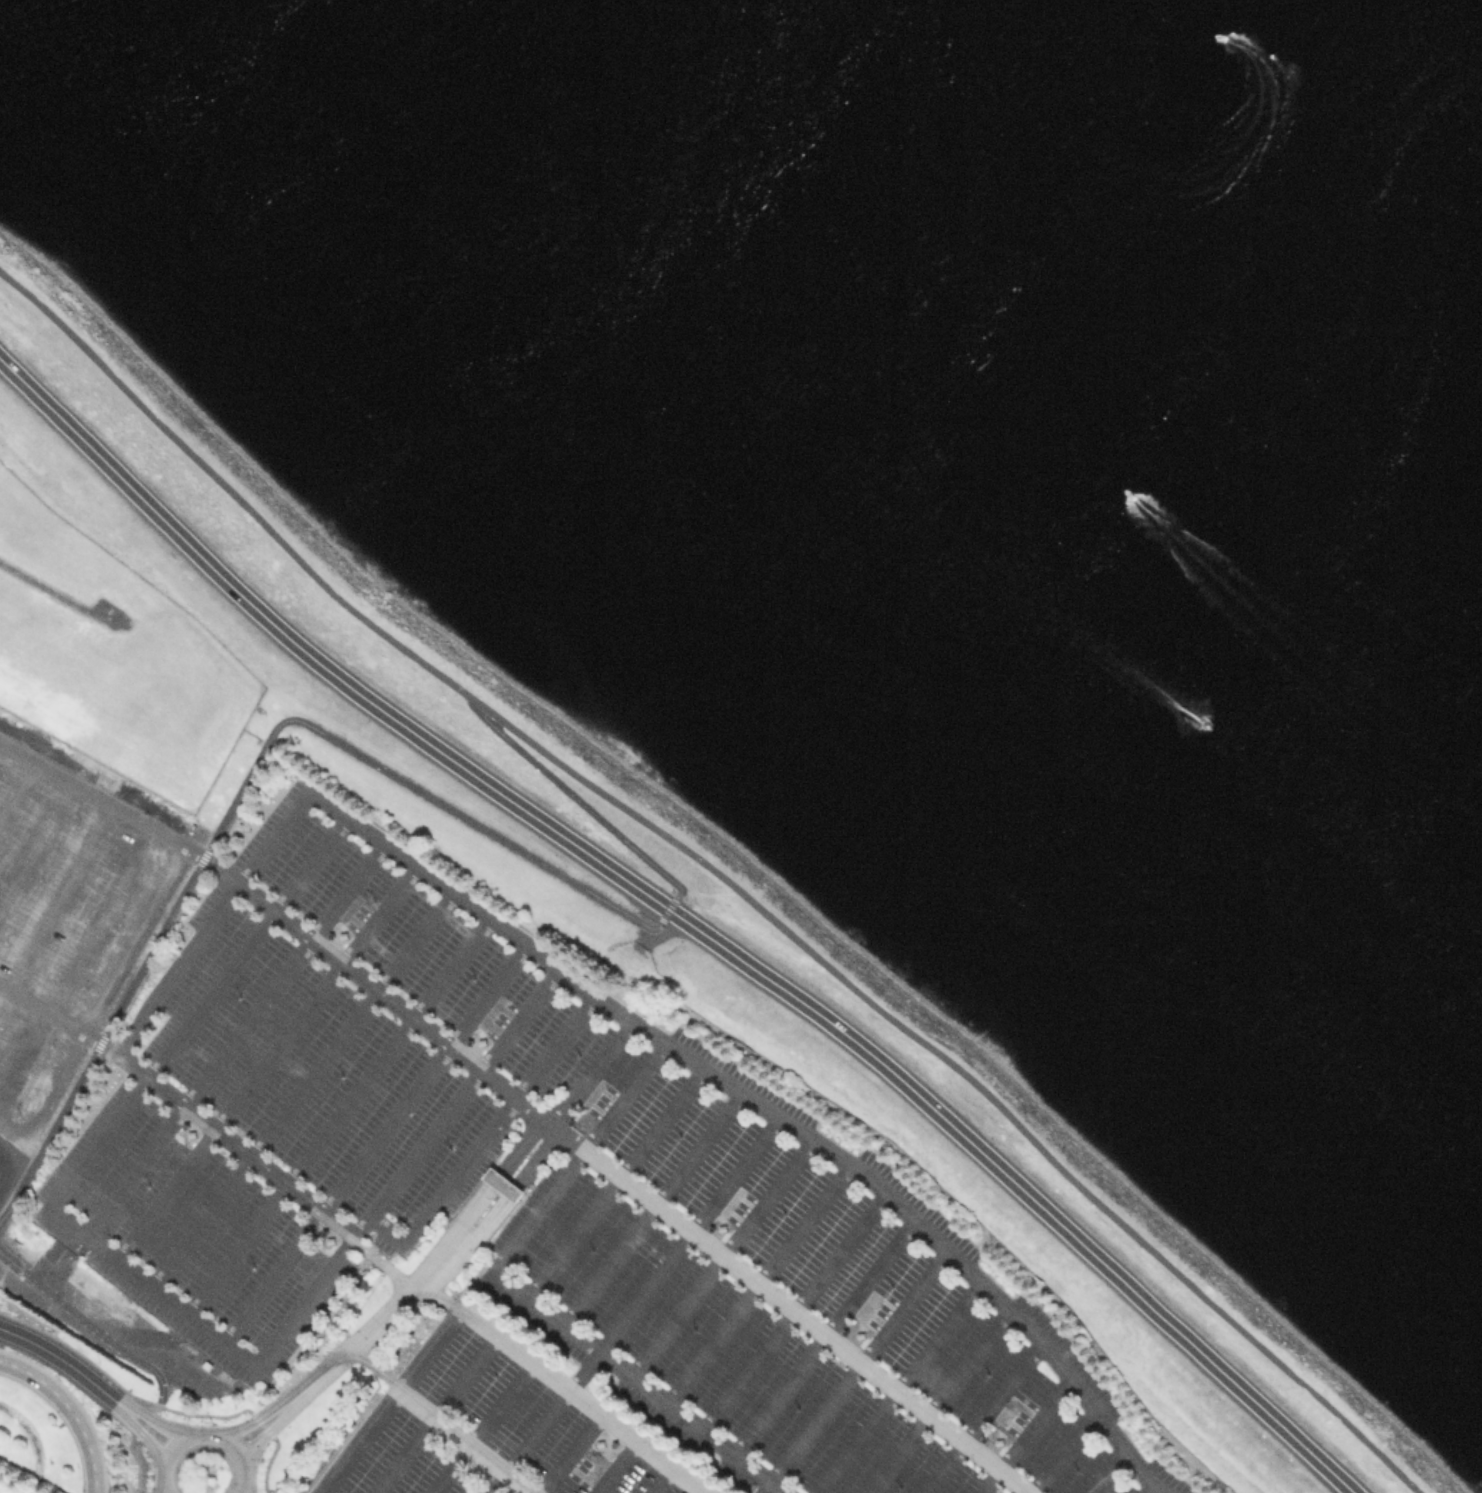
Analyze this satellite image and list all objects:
road: (54, 590)
building: (103, 778)
road: (246, 780)
airport: (93, 790)
road: (582, 804)
road: (120, 811)
road: (343, 814)
road: (717, 870)
road: (226, 898)
building: (693, 901)
road: (668, 912)
parking lot: (70, 915)
road: (681, 918)
road: (287, 923)
building: (341, 935)
road: (392, 1003)
road: (60, 1020)
road: (133, 1032)
road: (230, 1040)
building: (479, 1041)
road: (260, 1063)
road: (591, 1074)
road: (297, 1090)
road: (515, 1097)
road: (624, 1098)
road: (455, 1105)
road: (334, 1117)
road: (798, 1132)
building: (189, 1133)
road: (484, 1139)
road: (370, 1145)
road: (235, 1148)
road: (610, 1181)
road: (70, 1183)
road: (490, 1185)
building: (499, 1187)
road: (507, 1198)
parking lot: (550, 1204)
road: (648, 1208)
road: (525, 1227)
building: (721, 1227)
building: (328, 1240)
road: (720, 1259)
road: (382, 1267)
road: (755, 1284)
road: (437, 1299)
road: (631, 1305)
road: (541, 1310)
road: (791, 1313)
road: (806, 1320)
road: (378, 1323)
road: (95, 1331)
building: (860, 1334)
road: (820, 1338)
road: (60, 1359)
building: (209, 1365)
road: (374, 1367)
road: (855, 1367)
road: (898, 1387)
road: (388, 1400)
road: (579, 1400)
road: (936, 1401)
road: (662, 1403)
road: (70, 1410)
road: (266, 1413)
road: (435, 1414)
road: (981, 1418)
road: (152, 1420)
road: (275, 1424)
road: (263, 1426)
road: (483, 1428)
road: (140, 1431)
road: (204, 1434)
road: (1024, 1435)
road: (462, 1441)
building: (598, 1442)
building: (998, 1442)
road: (1061, 1451)
road: (568, 1454)
road: (140, 1461)
road: (614, 1467)
road: (1103, 1471)
road: (659, 1481)
road: (762, 1488)
road: (771, 1488)
road: (1145, 1489)
road: (163, 1492)

